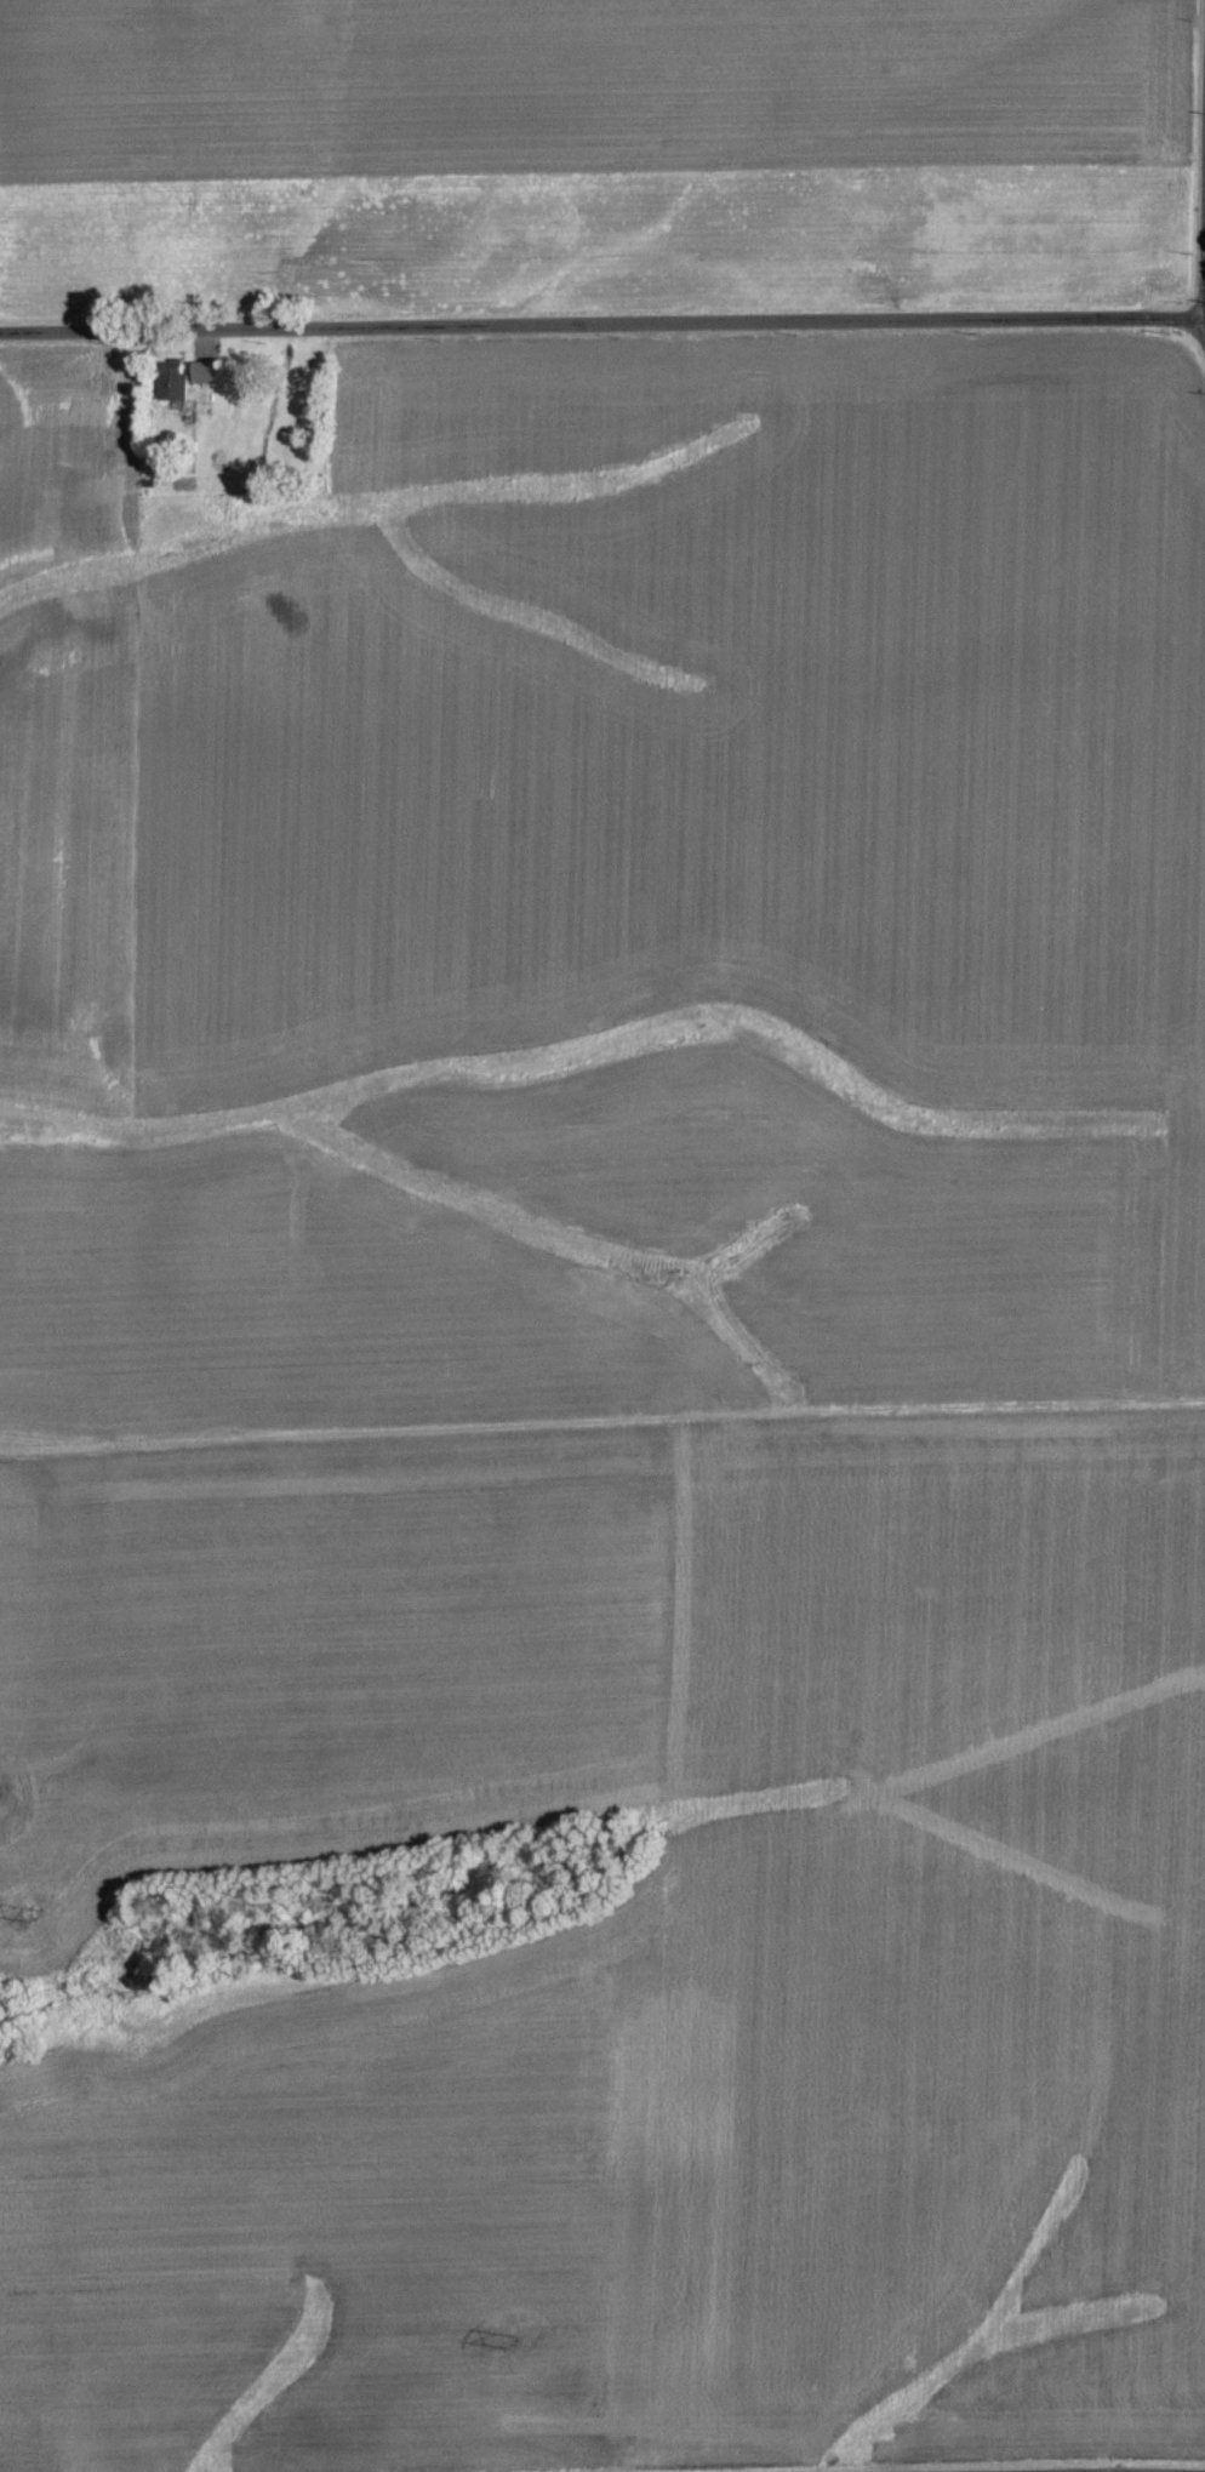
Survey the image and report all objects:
road: (1204, 262)
road: (1204, 318)
road: (602, 325)
building: (200, 371)
building: (169, 384)

